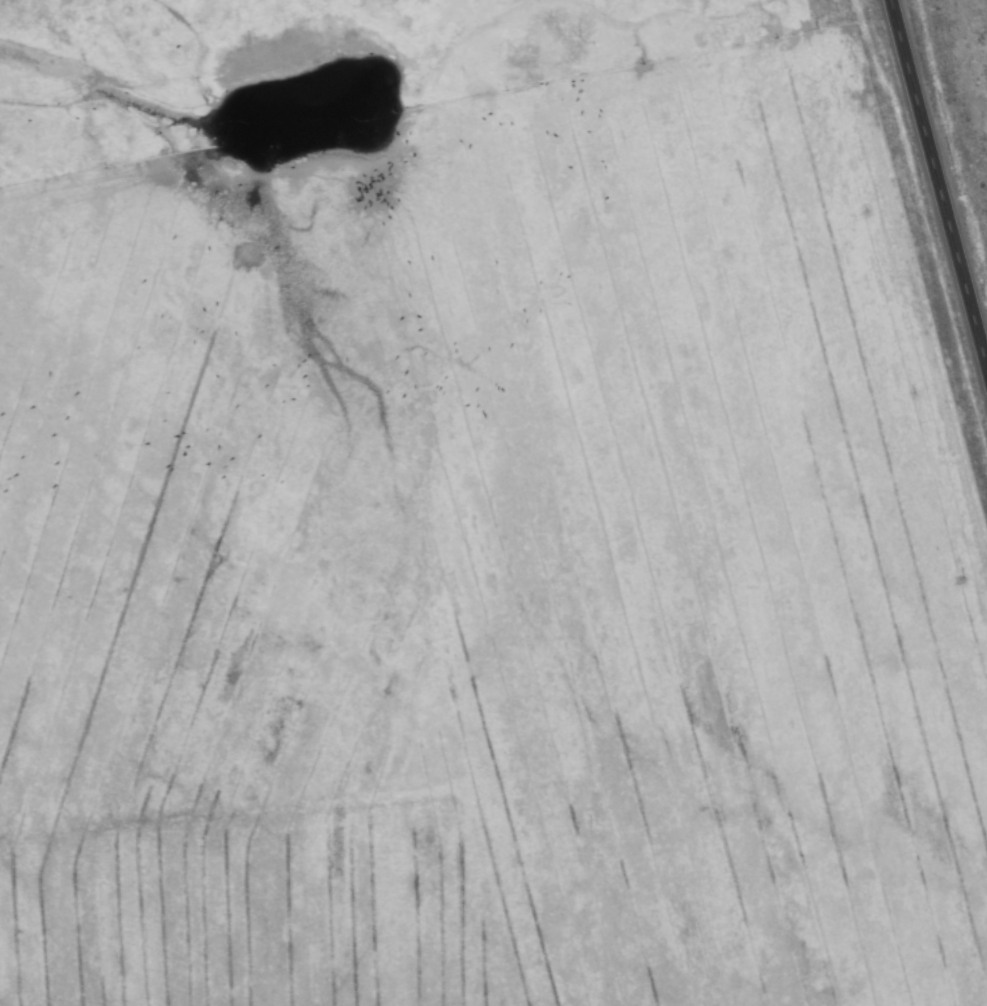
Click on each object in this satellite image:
wastewater plant: (306, 89)
road: (934, 196)

